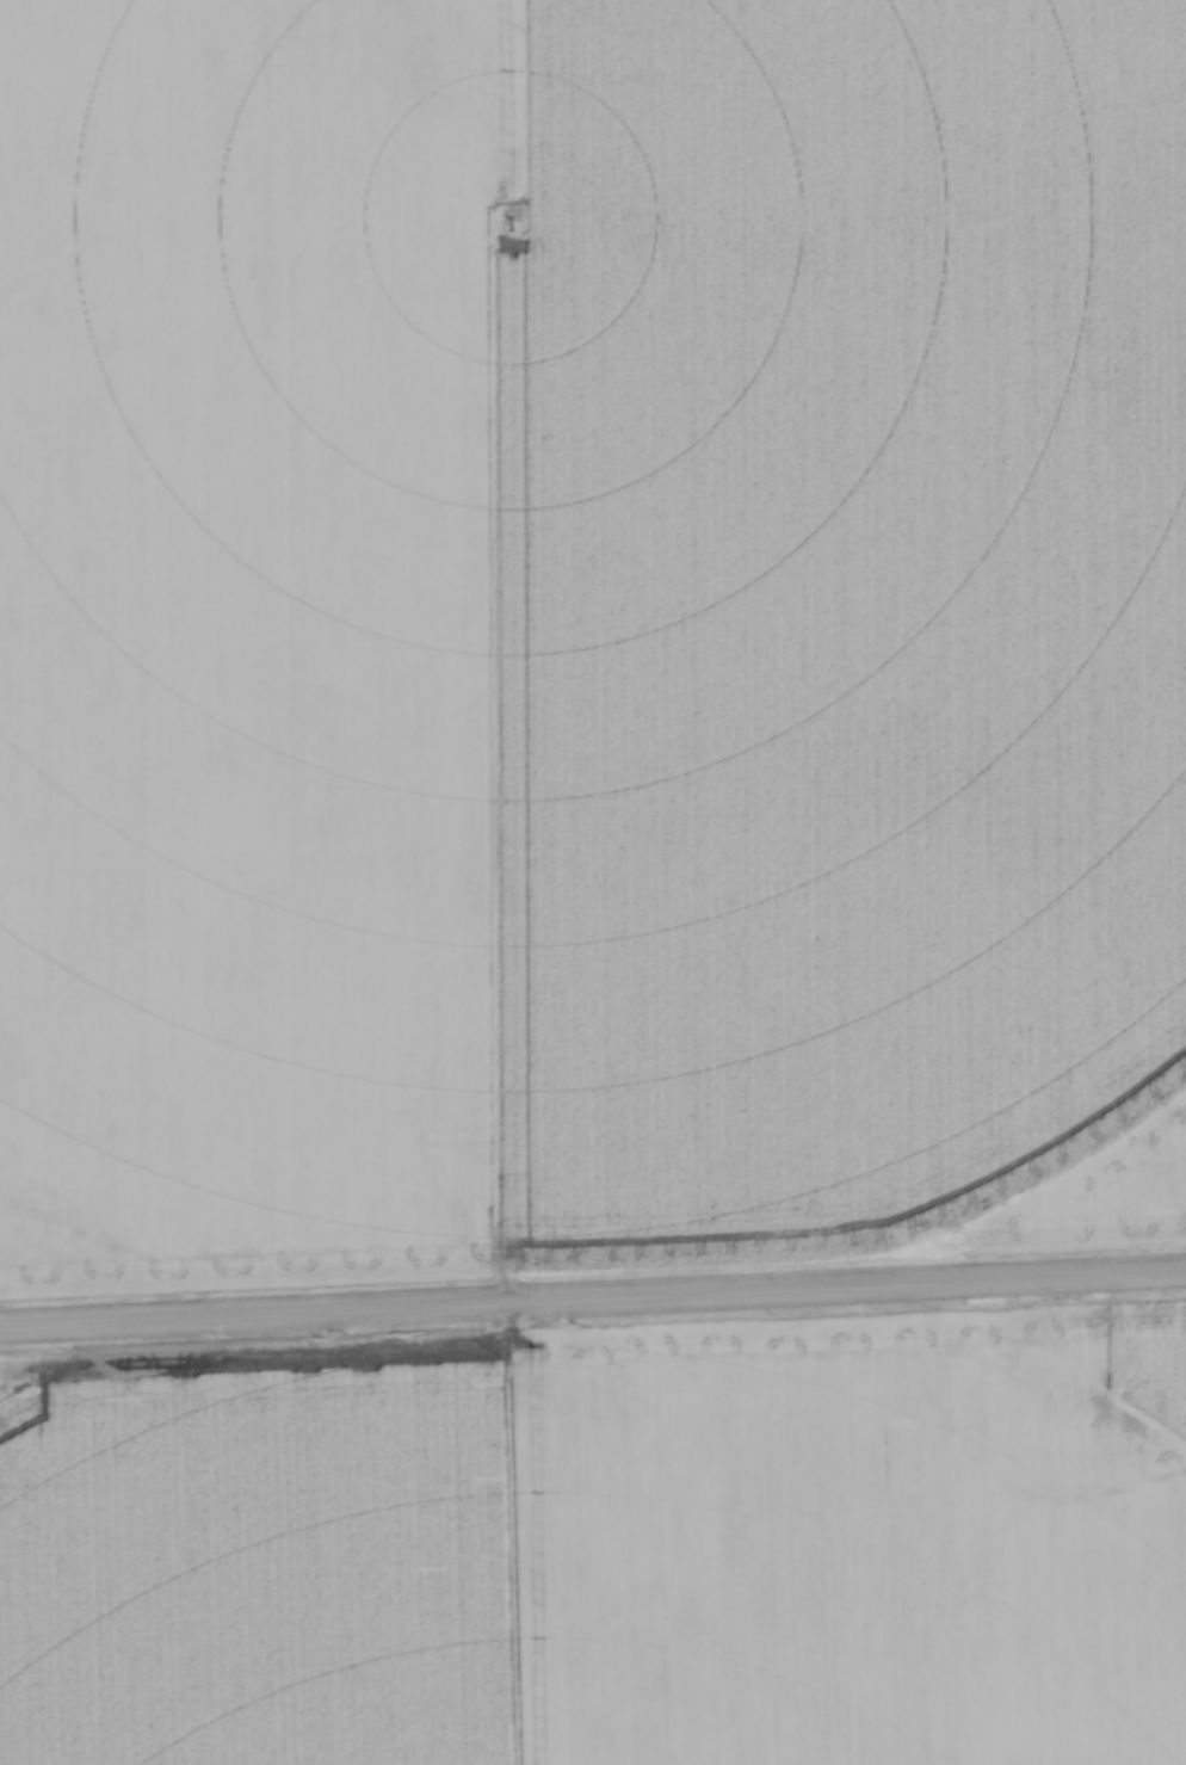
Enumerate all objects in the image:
road: (593, 1306)

